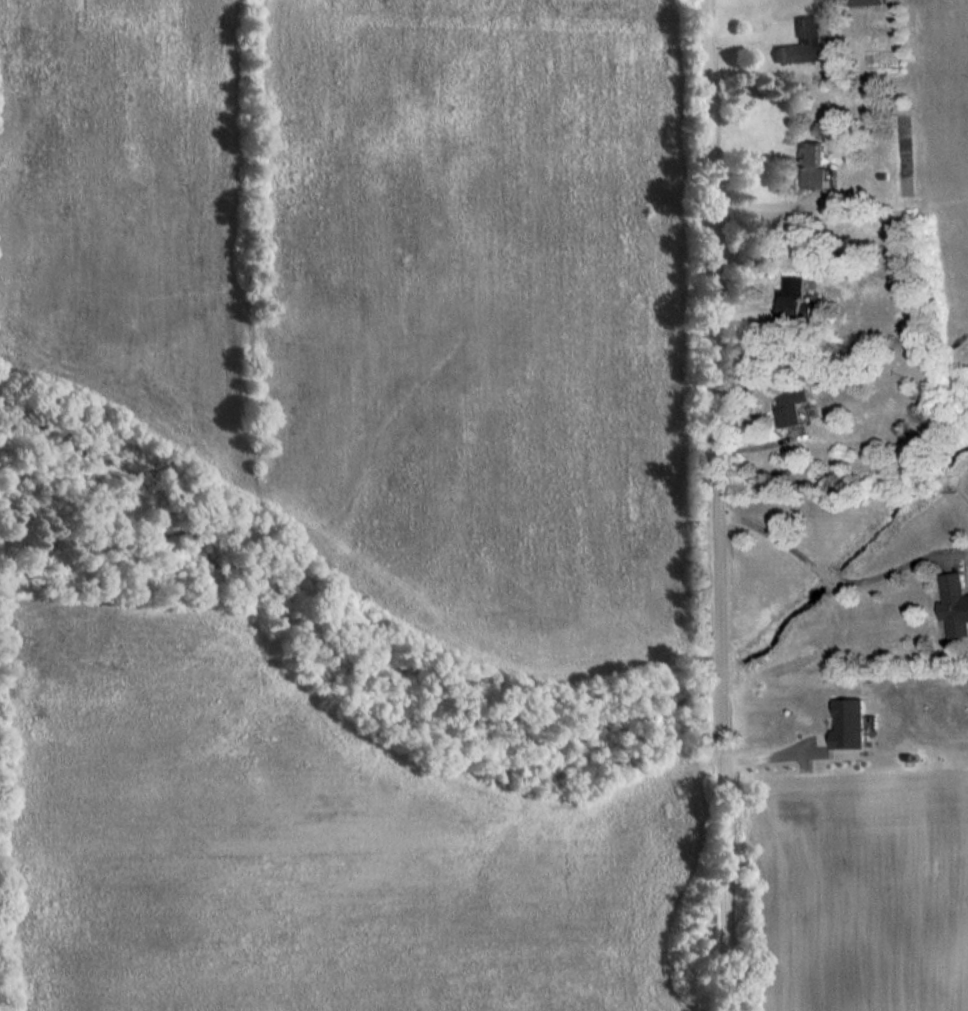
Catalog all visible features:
building: (865, 1)
building: (808, 42)
building: (814, 164)
road: (771, 203)
building: (794, 299)
building: (789, 405)
road: (715, 505)
road: (835, 577)
building: (957, 602)
building: (850, 723)
road: (775, 752)

